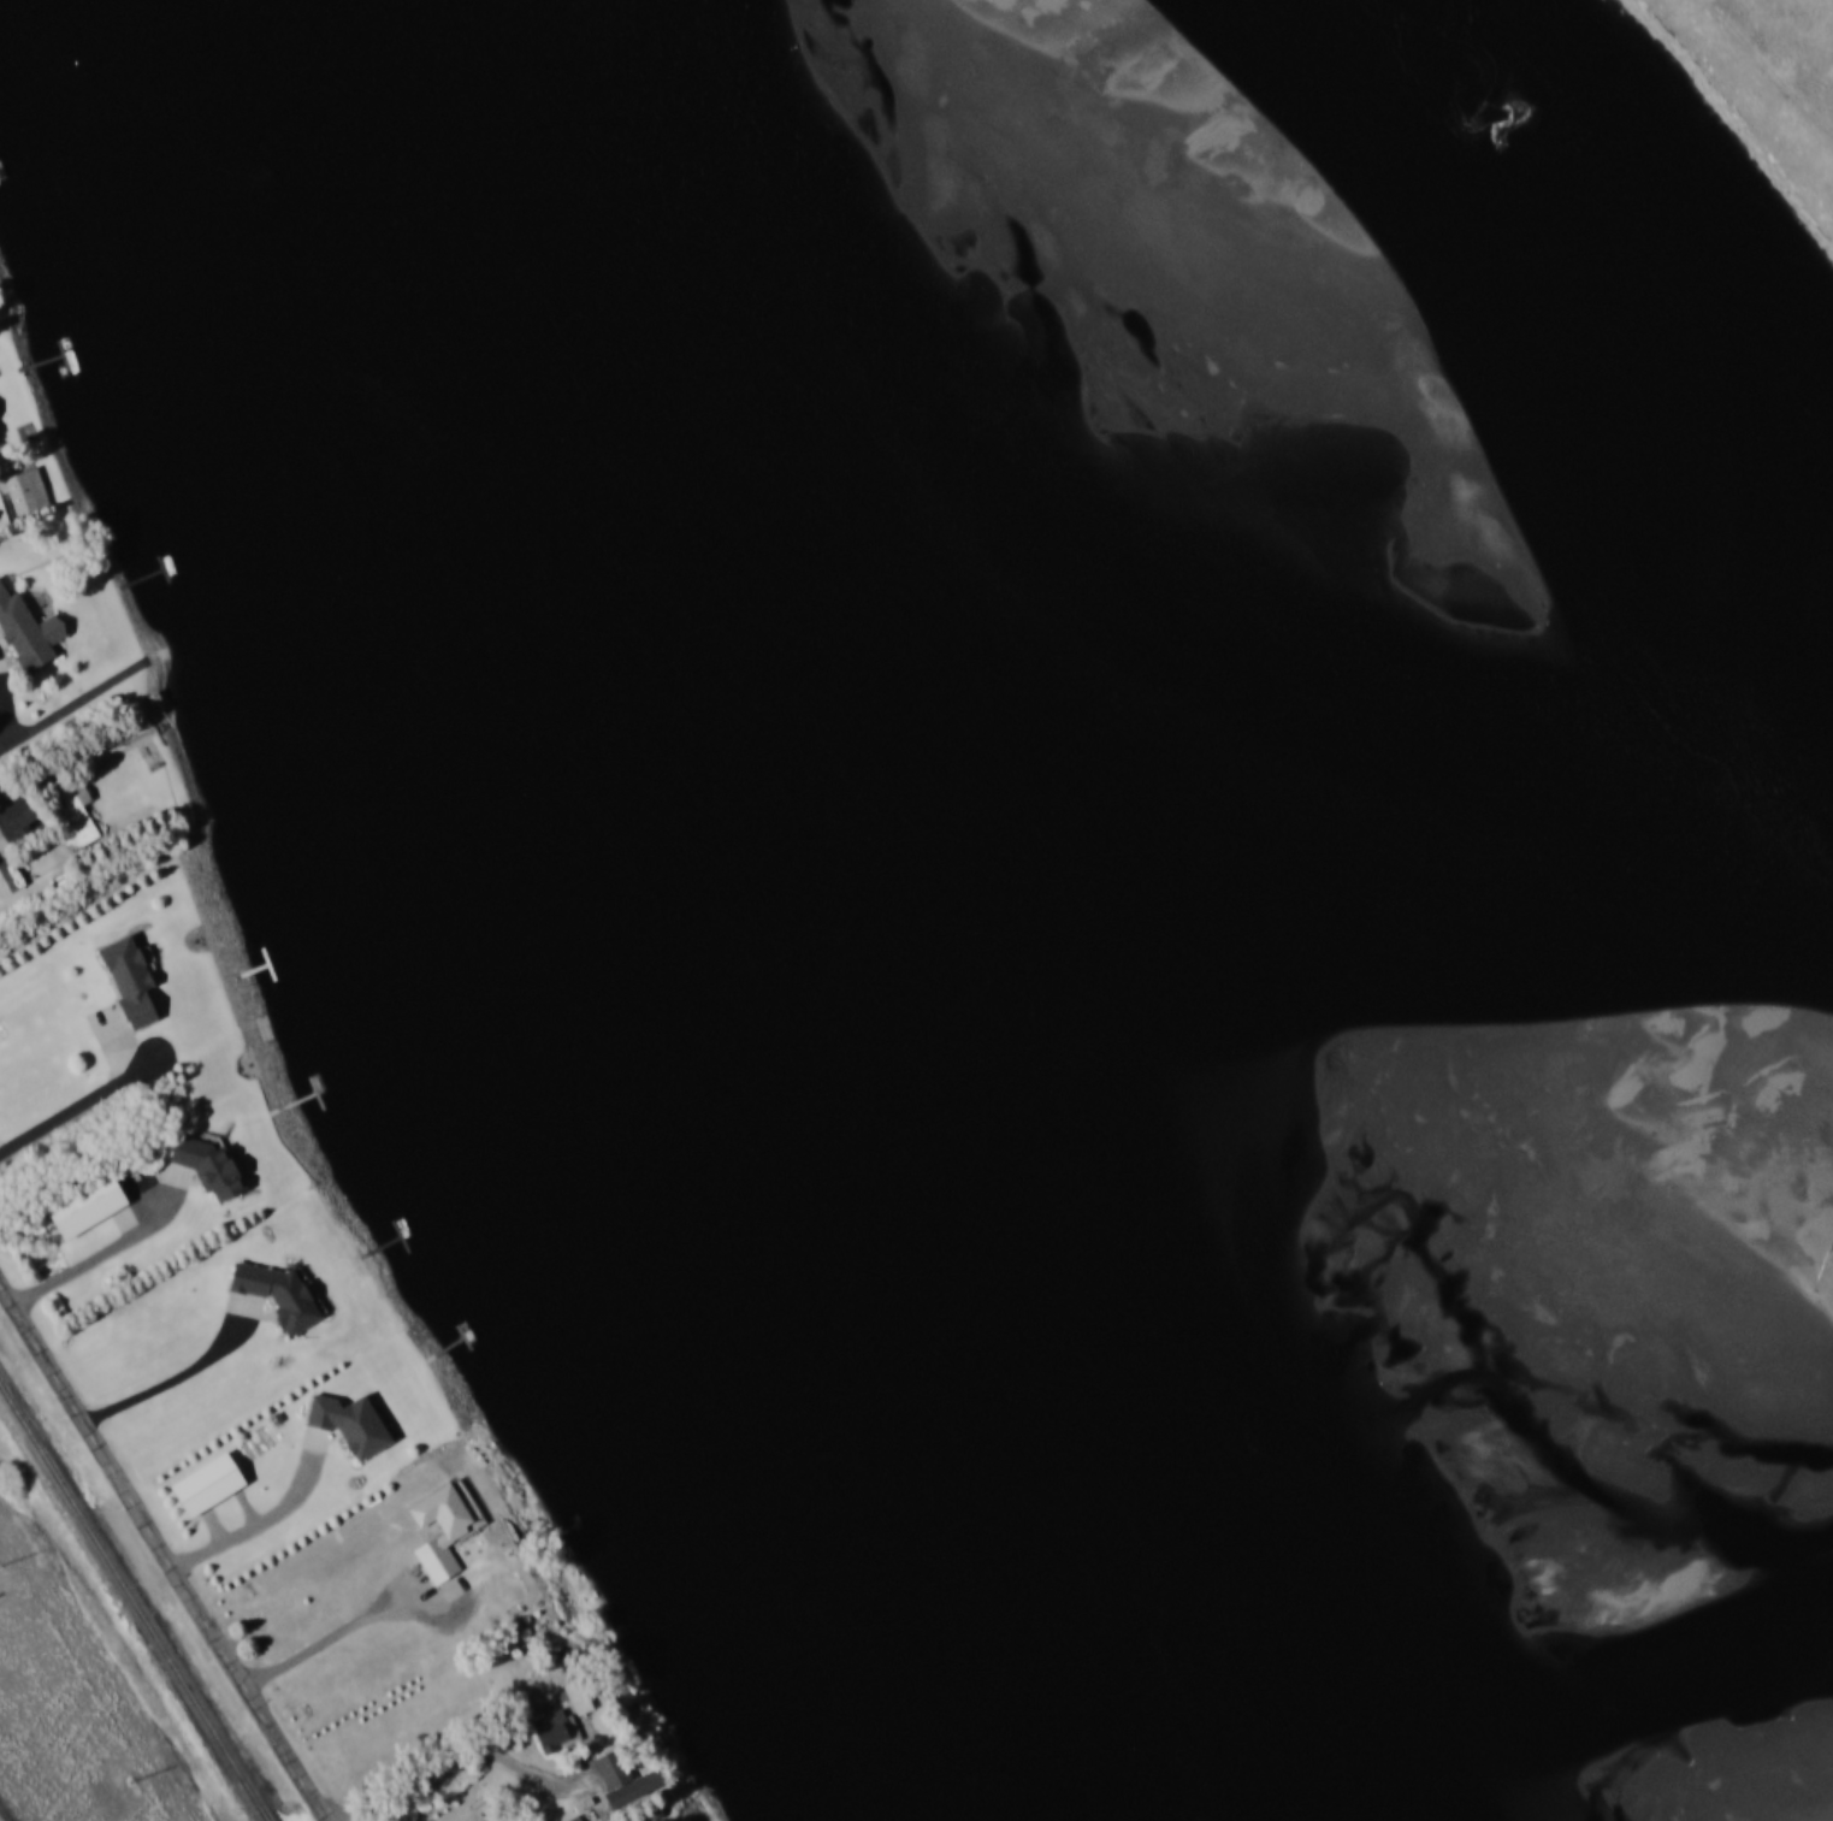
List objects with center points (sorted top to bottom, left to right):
river: (1393, 418)
building: (0, 448)
building: (30, 493)
building: (30, 632)
road: (72, 713)
building: (71, 822)
road: (76, 920)
building: (126, 981)
building: (206, 1167)
building: (83, 1205)
building: (276, 1294)
road: (176, 1376)
building: (348, 1425)
building: (205, 1486)
building: (443, 1538)
road: (167, 1547)
railway: (132, 1609)
road: (331, 1632)
building: (580, 1707)
building: (551, 1732)
road: (465, 1756)
building: (622, 1779)

